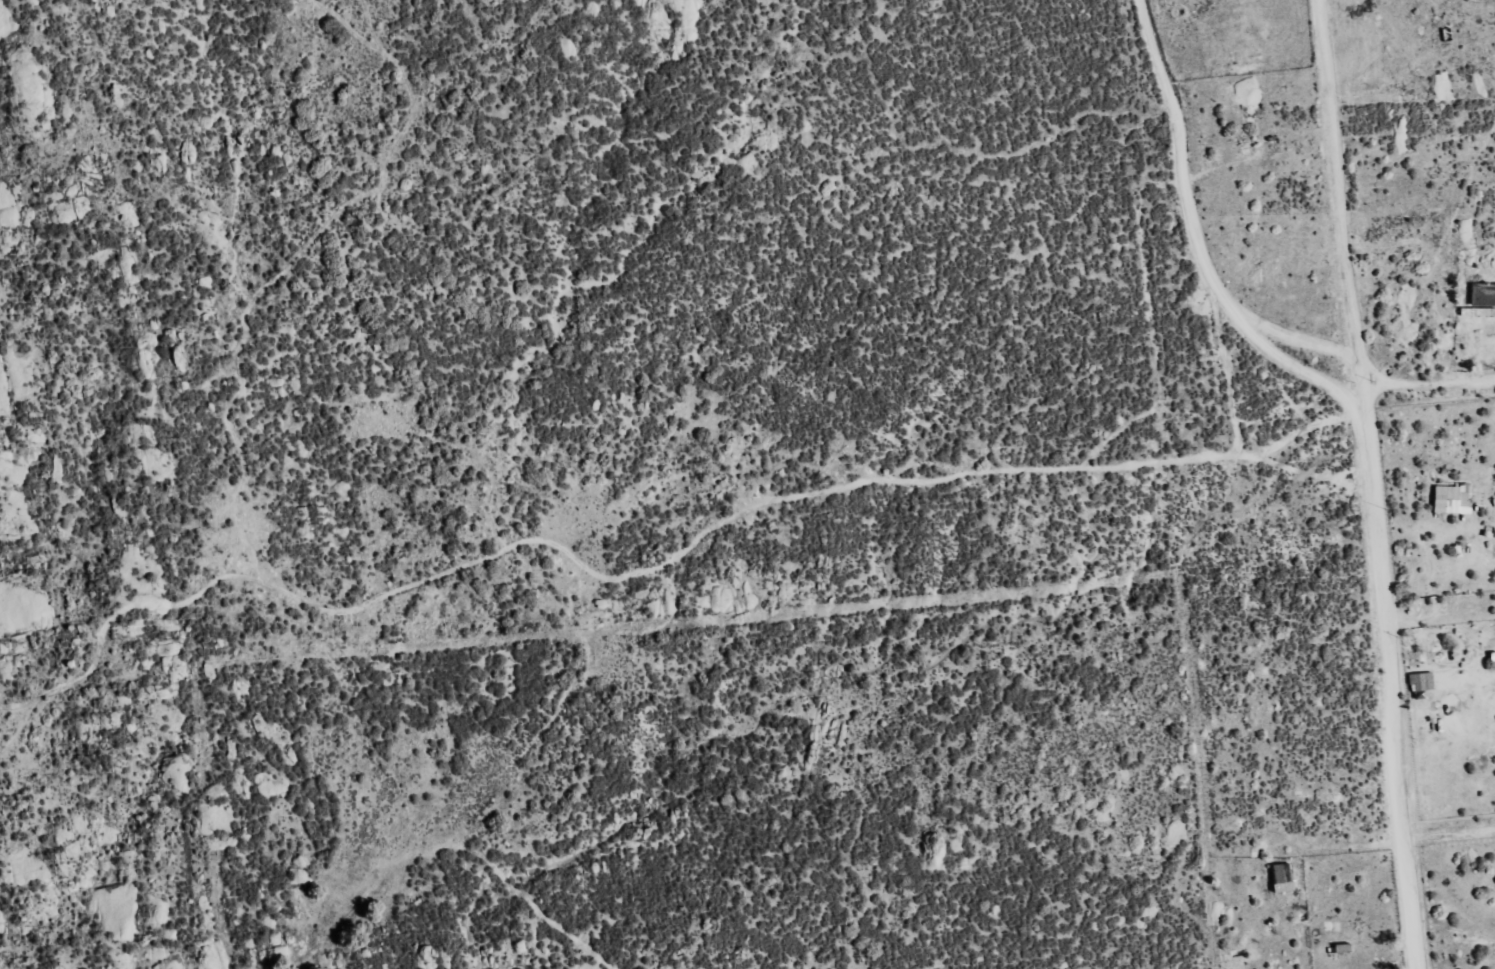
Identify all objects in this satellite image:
road: (1365, 434)

